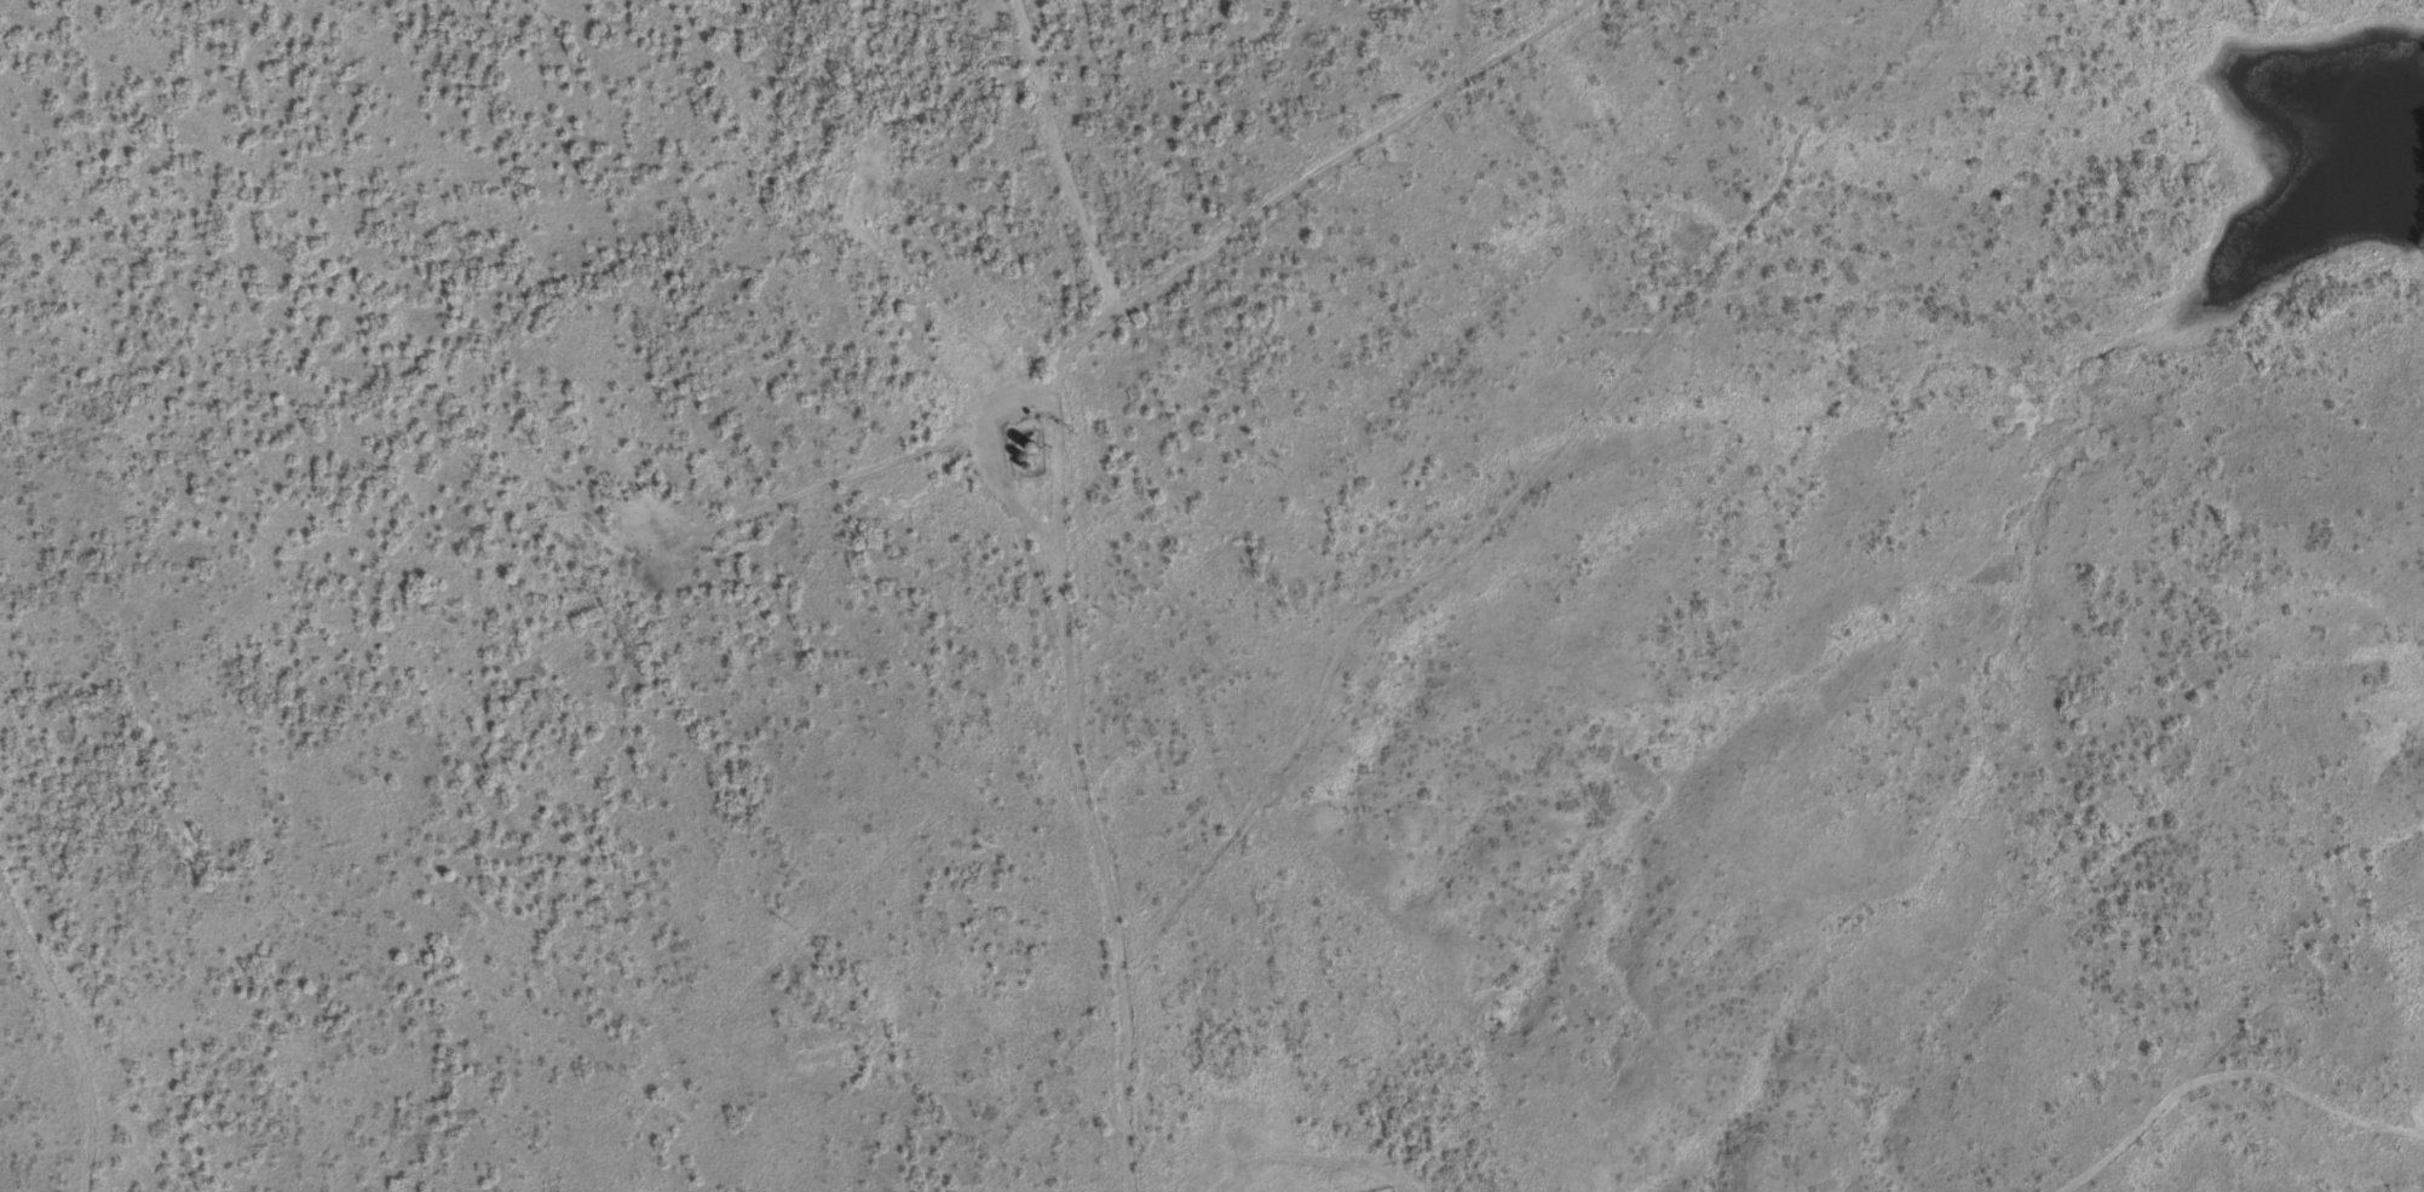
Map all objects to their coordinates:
road: (1525, 148)
road: (1324, 179)
road: (1176, 595)
road: (1058, 658)
road: (51, 1027)
road: (1001, 1117)

